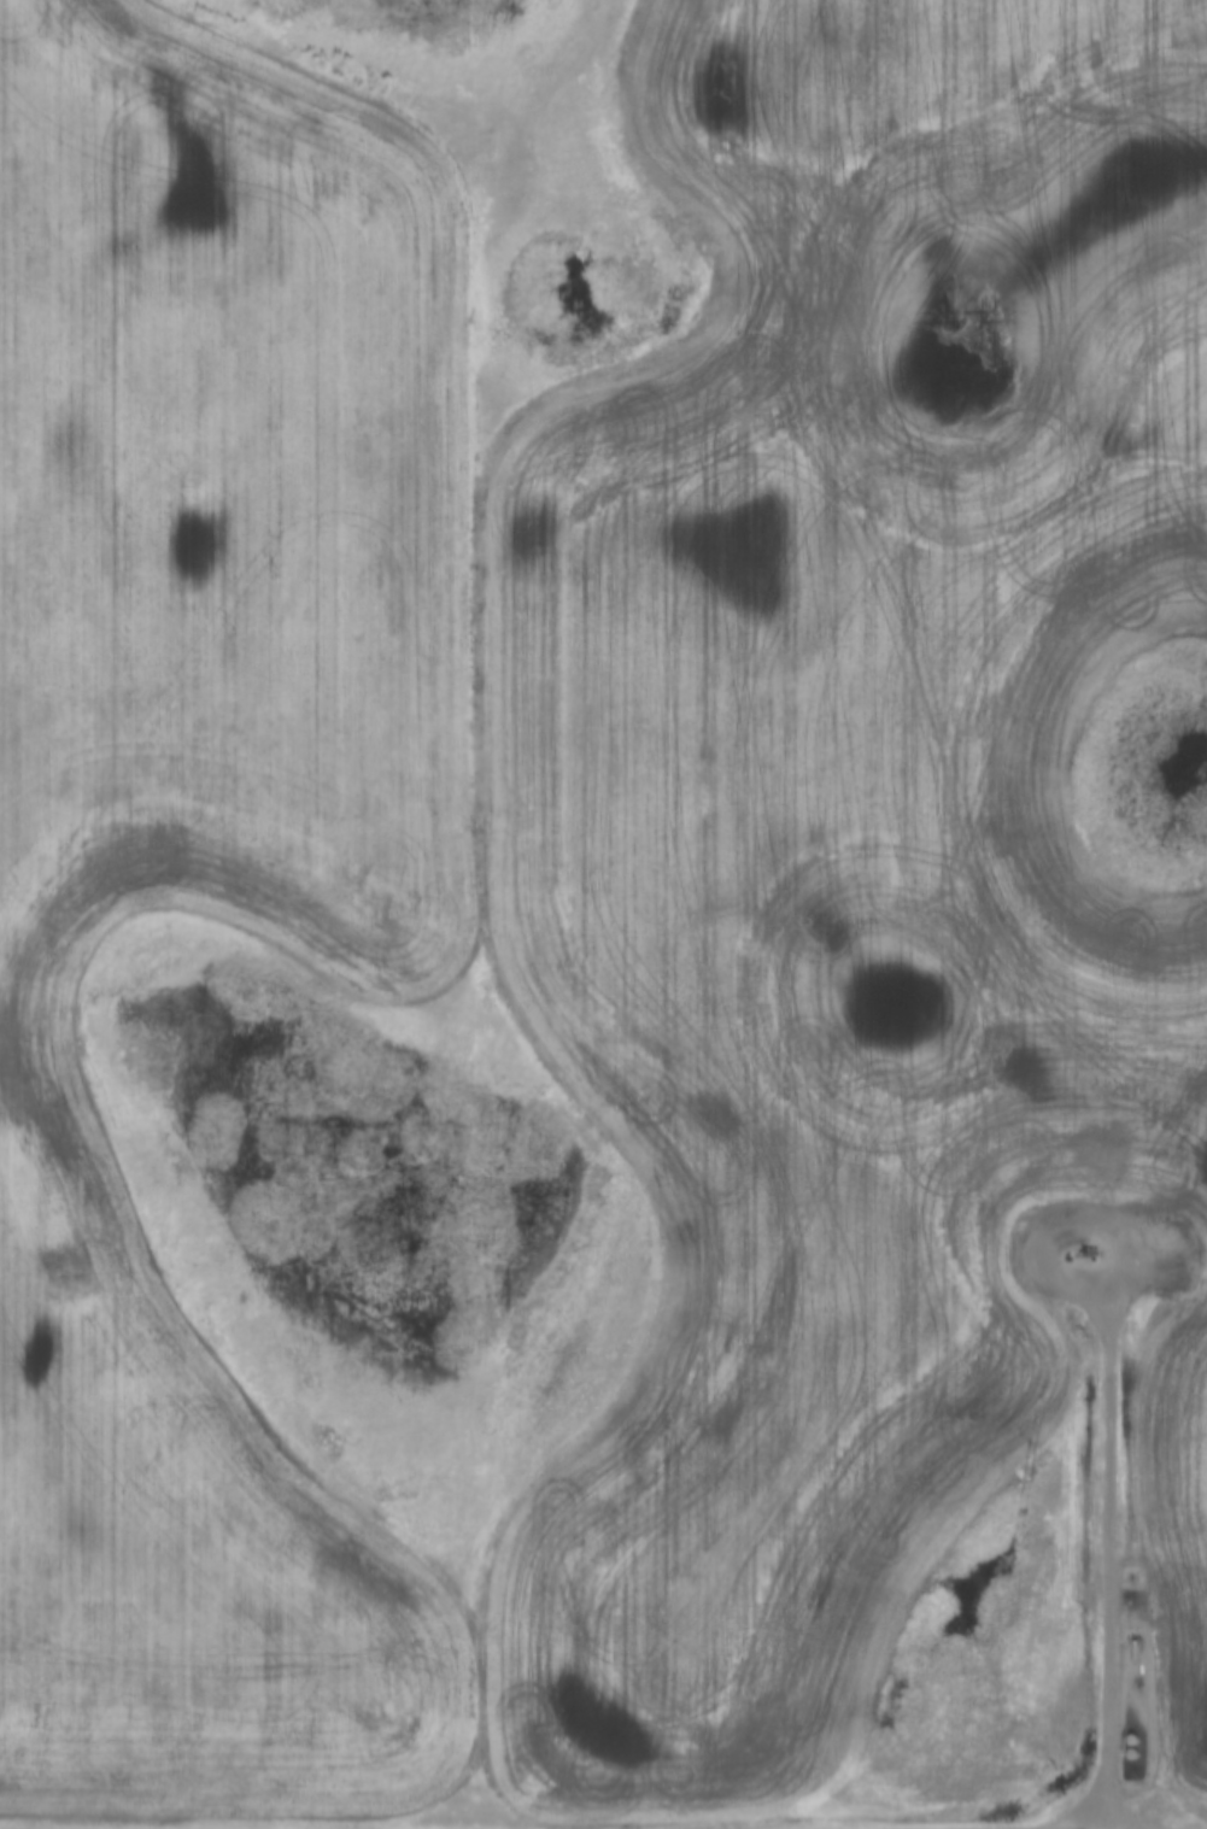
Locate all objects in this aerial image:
road: (1106, 1529)

